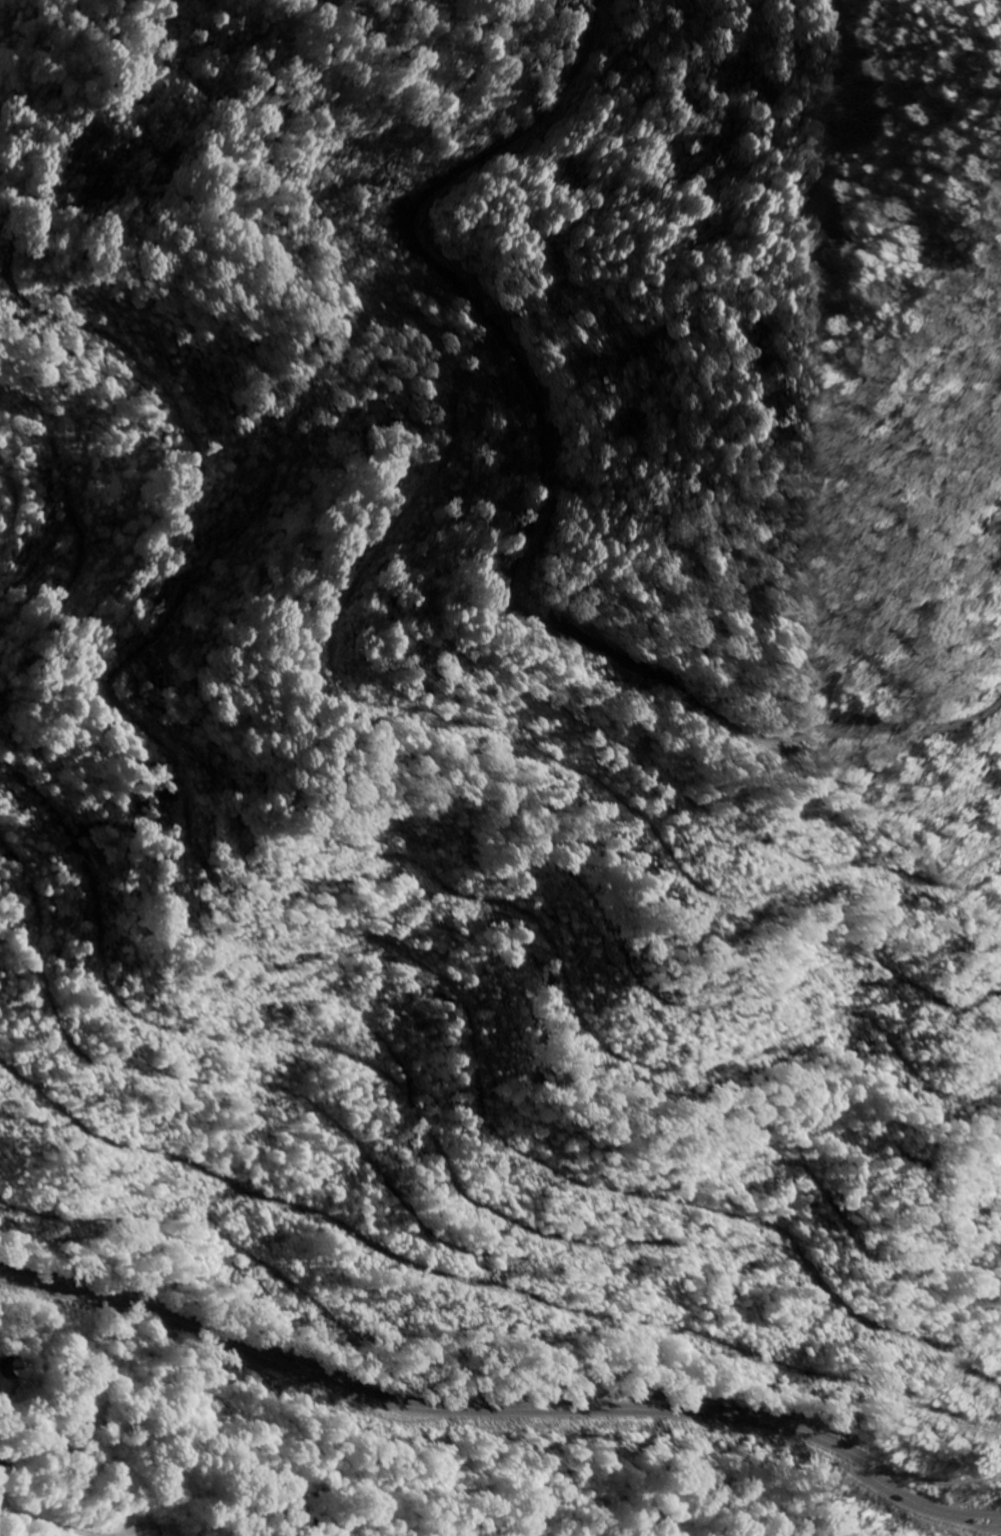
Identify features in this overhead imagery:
building: (8, 1367)
road: (500, 1409)

